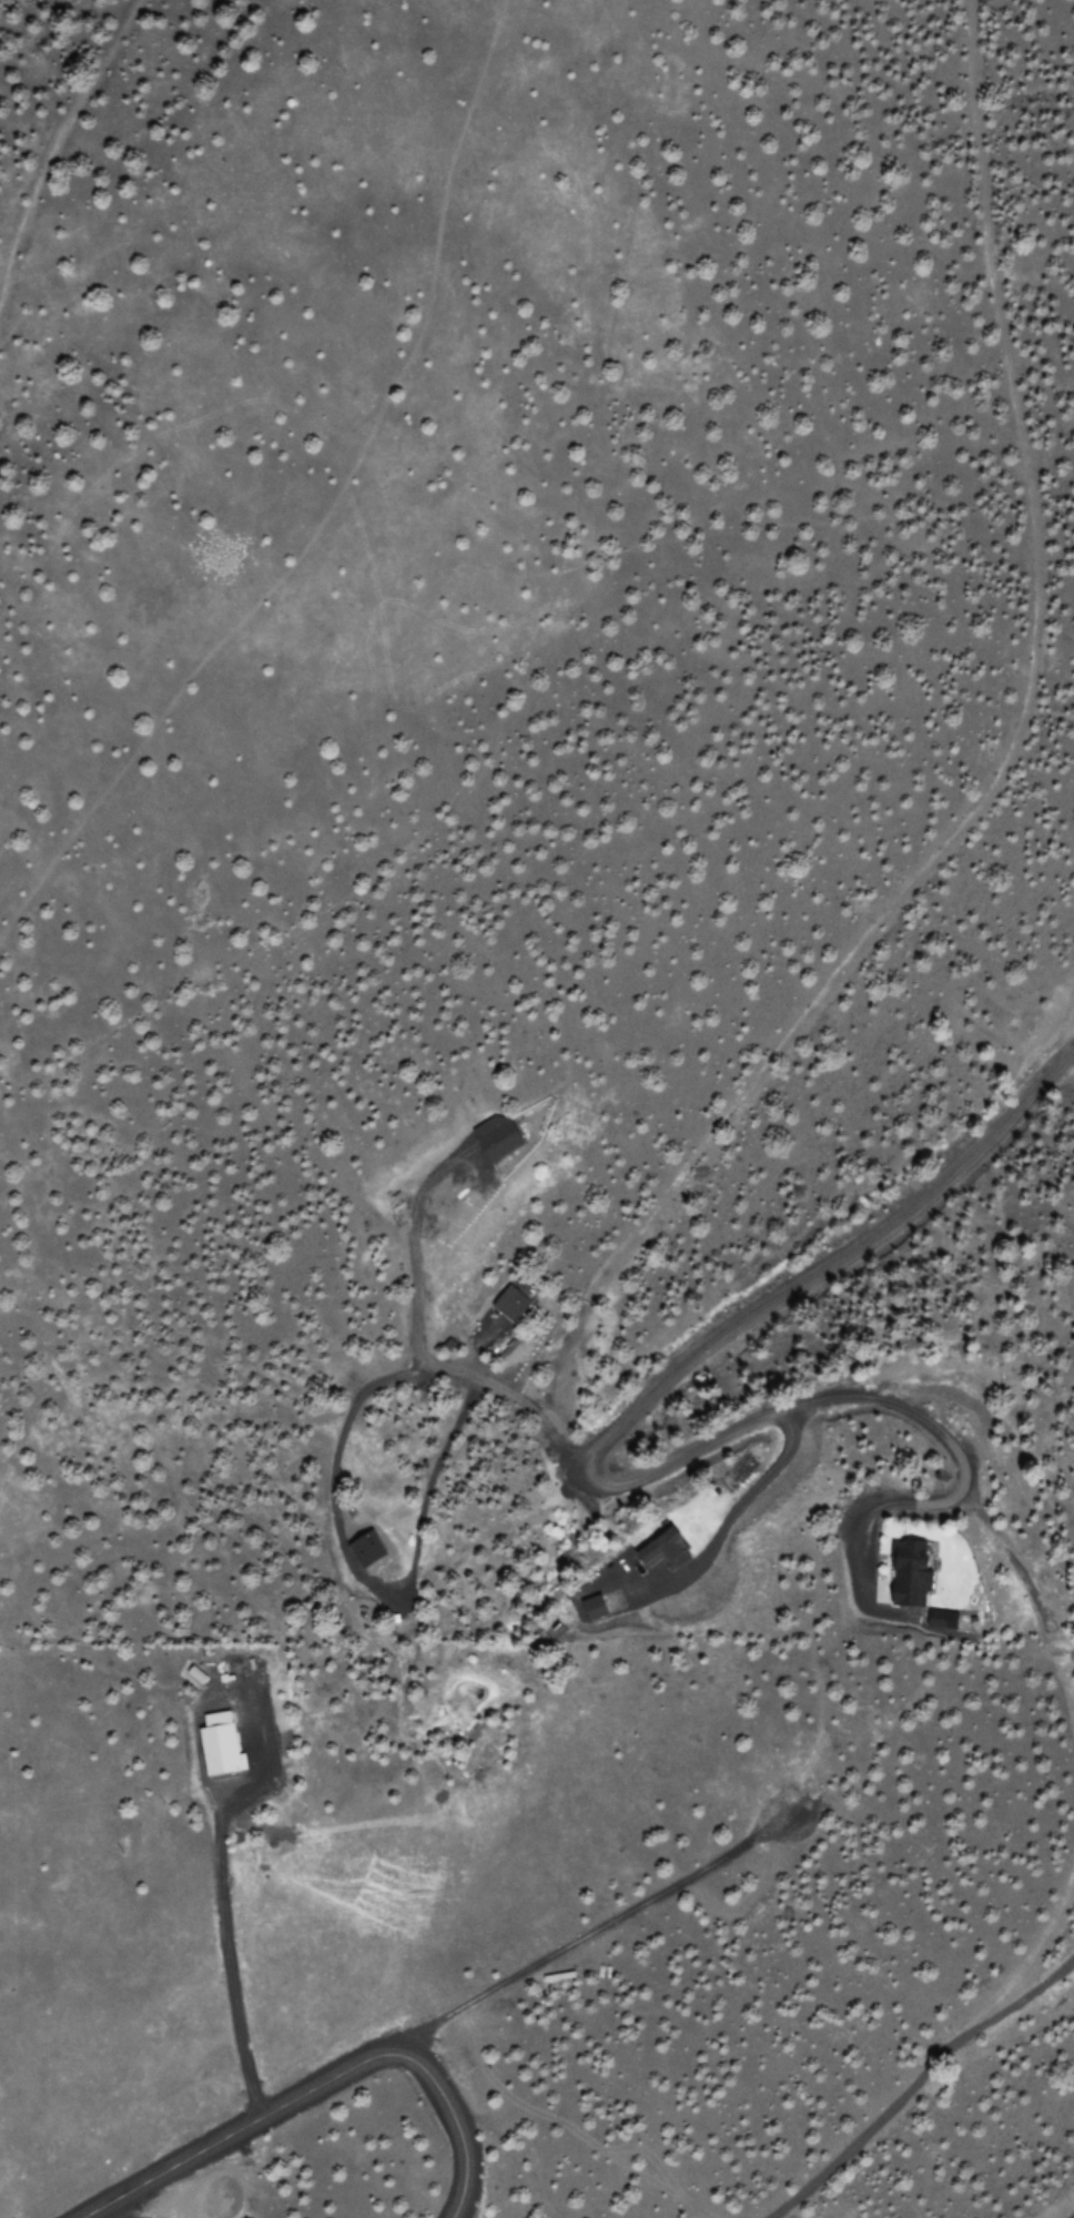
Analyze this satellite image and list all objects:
building: (510, 1304)
road: (591, 1454)
building: (900, 1572)
road: (325, 2079)

